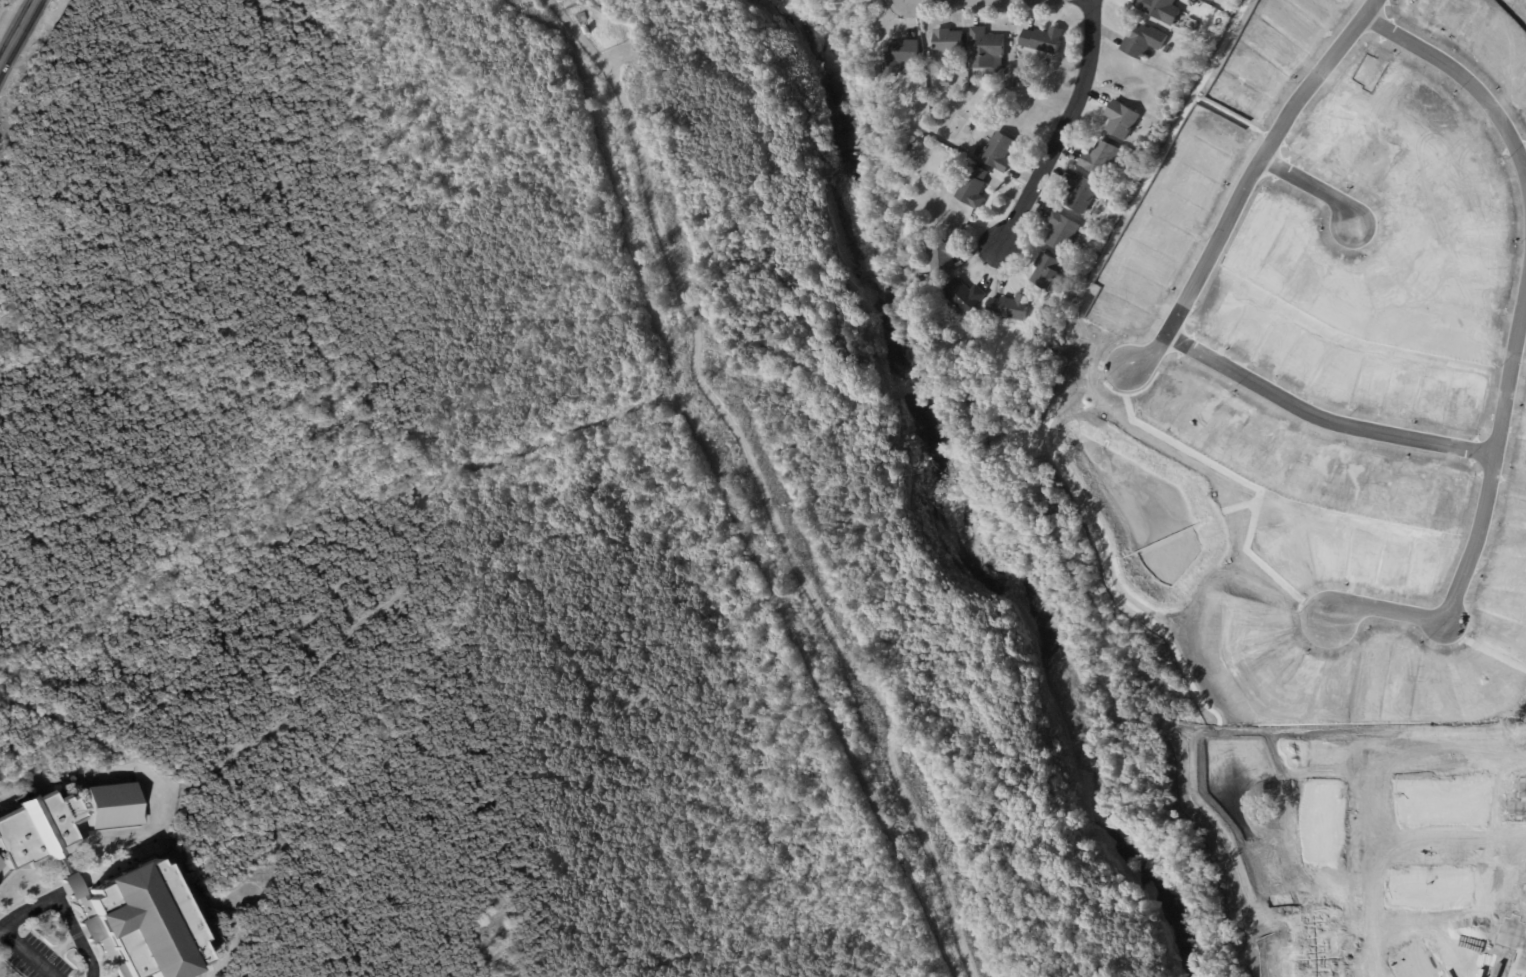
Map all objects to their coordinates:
building: (1157, 9)
building: (580, 14)
road: (571, 26)
building: (584, 27)
building: (1210, 27)
road: (17, 32)
building: (1041, 39)
building: (948, 41)
building: (1143, 41)
building: (1164, 48)
building: (984, 49)
building: (900, 56)
building: (963, 68)
building: (1013, 83)
road: (1469, 90)
road: (1223, 115)
building: (1119, 119)
building: (1146, 126)
road: (1060, 127)
building: (967, 130)
road: (1266, 138)
building: (921, 141)
building: (995, 152)
building: (1100, 159)
road: (1522, 164)
road: (1243, 182)
building: (972, 188)
road: (1310, 188)
building: (1078, 193)
building: (957, 208)
building: (1060, 231)
building: (1077, 247)
road: (306, 254)
building: (940, 257)
building: (1044, 271)
building: (962, 295)
building: (1008, 307)
road: (1179, 344)
road: (1073, 373)
building: (704, 374)
building: (744, 384)
road: (1122, 394)
road: (1315, 420)
road: (1490, 445)
road: (431, 507)
road: (732, 511)
road: (773, 522)
road: (1383, 611)
road: (1409, 756)
building: (1436, 799)
building: (1516, 800)
building: (1321, 819)
road: (270, 837)
building: (793, 842)
road: (1444, 844)
road: (1361, 868)
building: (102, 883)
building: (1523, 886)
building: (1424, 887)
building: (1478, 887)
road: (52, 899)
building: (1511, 943)
building: (1316, 945)
road: (27, 953)
parking lot: (32, 957)
building: (1411, 964)
road: (83, 966)

